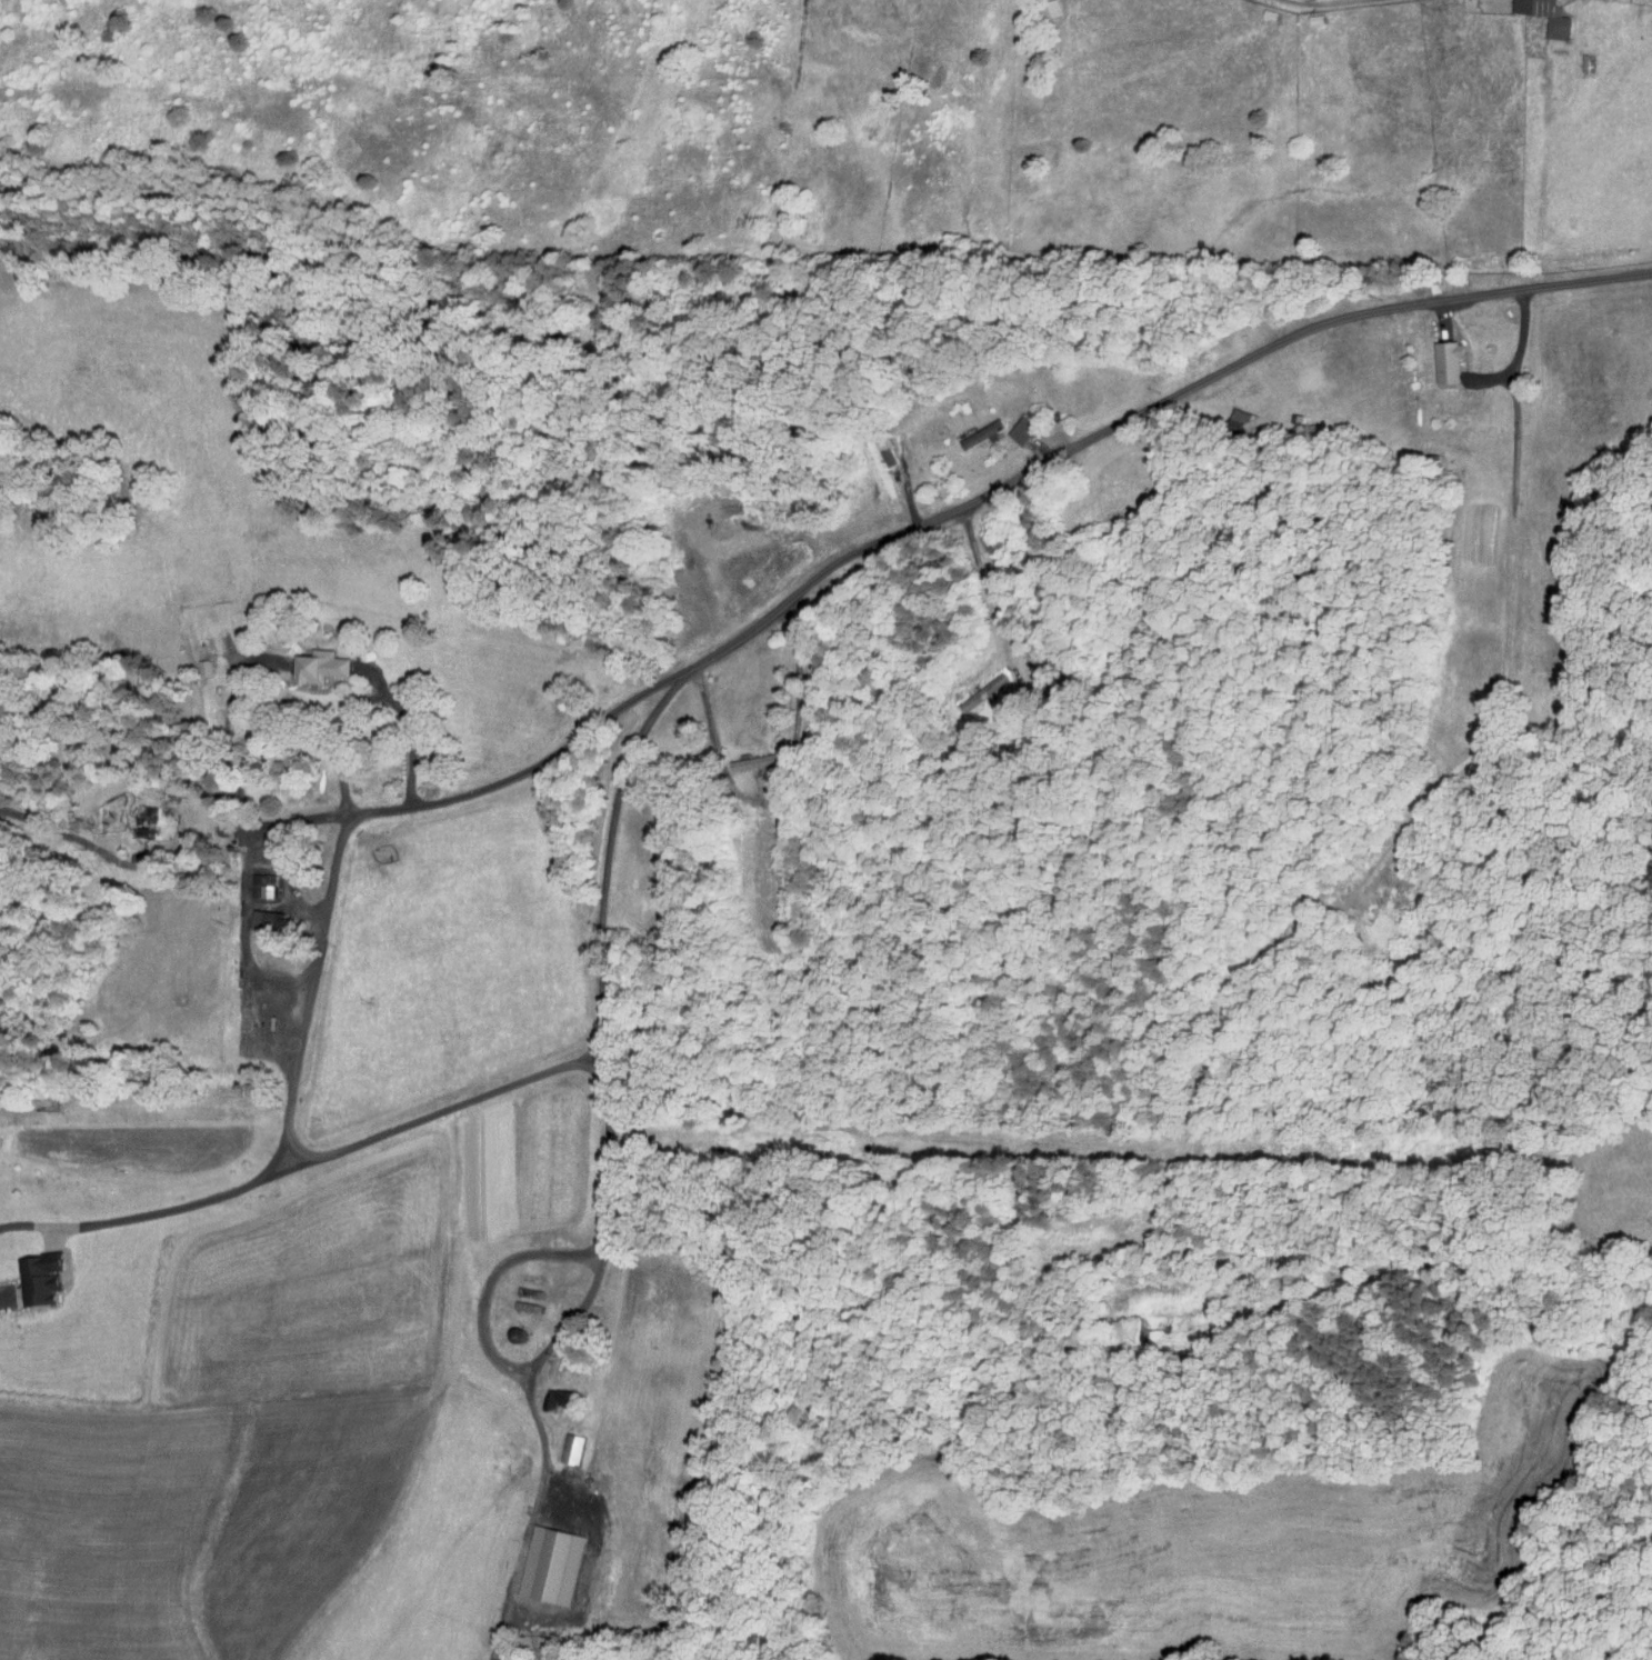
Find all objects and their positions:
road: (1320, 2)
building: (1050, 8)
building: (1545, 16)
road: (1519, 349)
building: (1446, 360)
building: (1241, 420)
building: (1021, 429)
building: (982, 433)
road: (1013, 438)
road: (1120, 493)
road: (928, 520)
road: (985, 579)
building: (202, 656)
road: (810, 659)
building: (319, 666)
building: (982, 692)
road: (369, 699)
road: (710, 711)
road: (228, 719)
building: (754, 761)
road: (768, 797)
building: (146, 820)
road: (337, 859)
building: (262, 884)
building: (262, 919)
road: (301, 1039)
road: (333, 1150)
road: (609, 1163)
building: (38, 1278)
building: (555, 1399)
building: (571, 1448)
building: (551, 1566)

